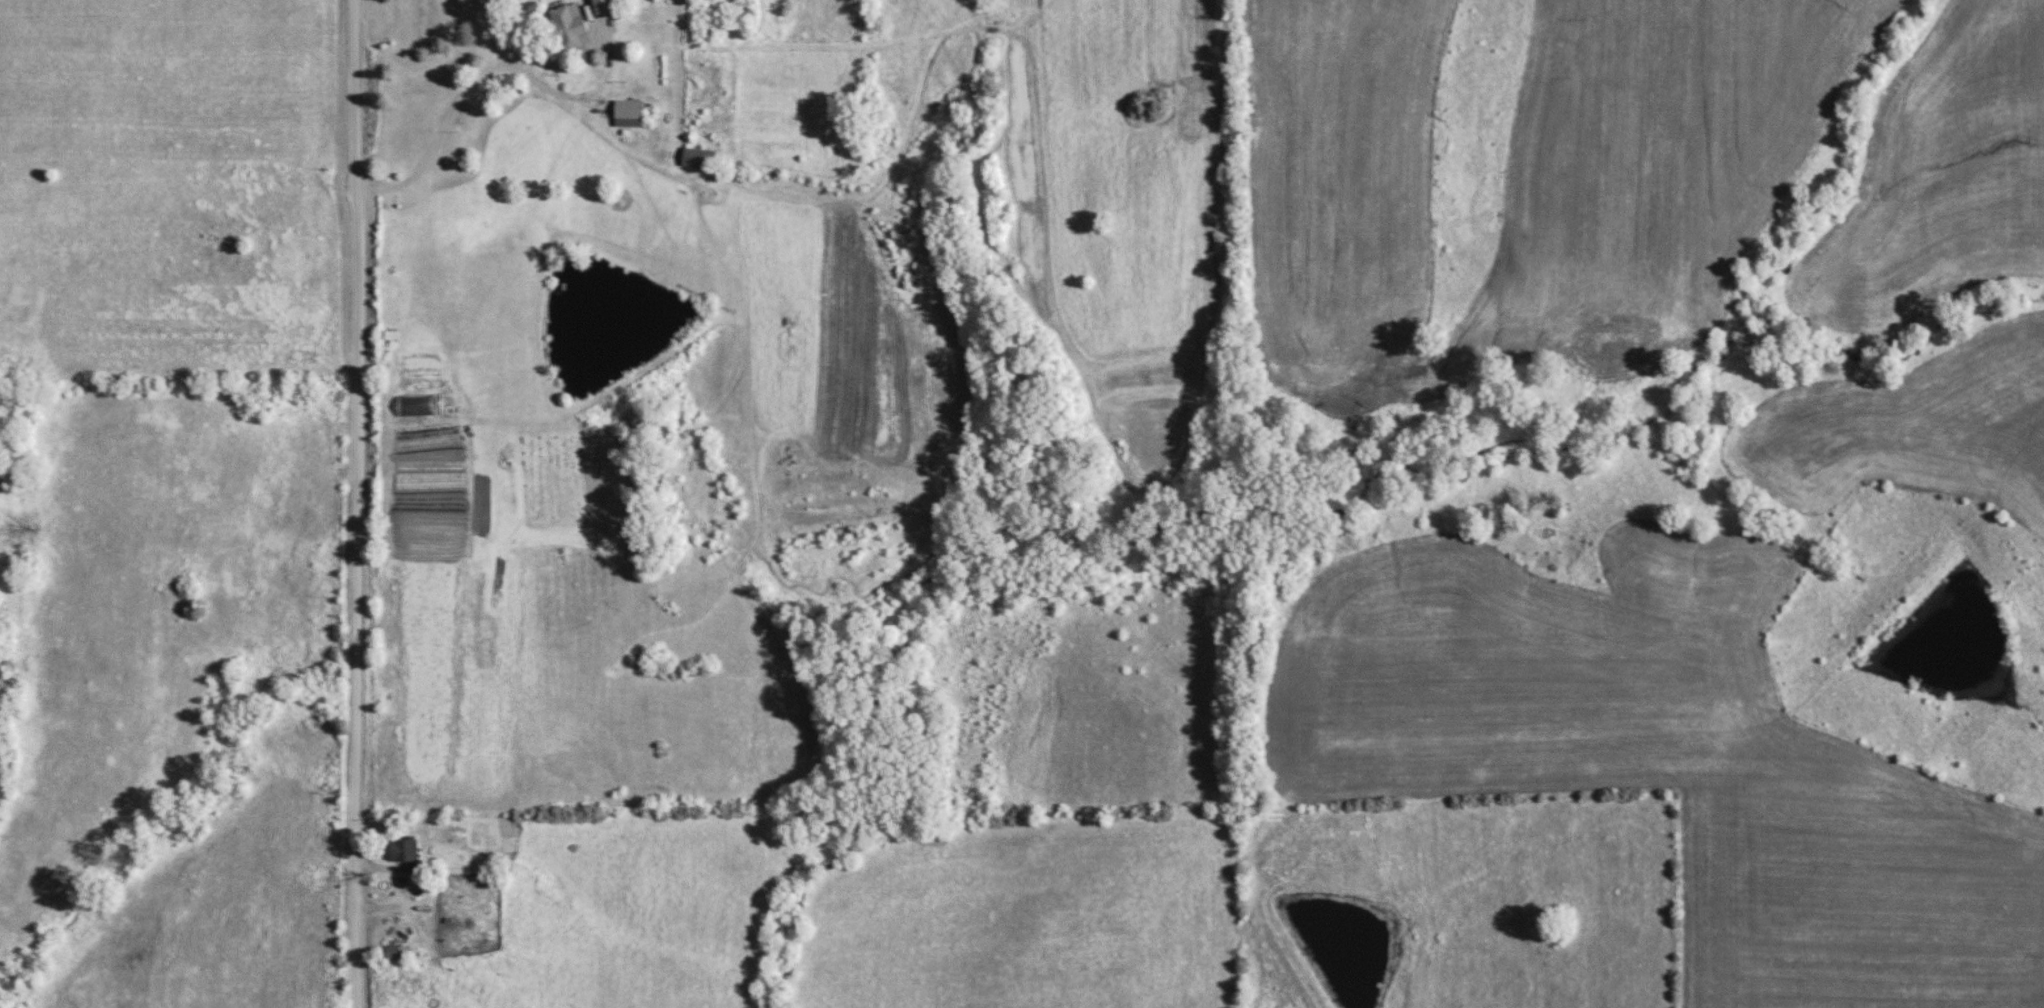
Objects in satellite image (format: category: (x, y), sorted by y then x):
building: (564, 30)
building: (629, 114)
building: (699, 159)
road: (360, 503)
building: (404, 852)
building: (392, 952)

